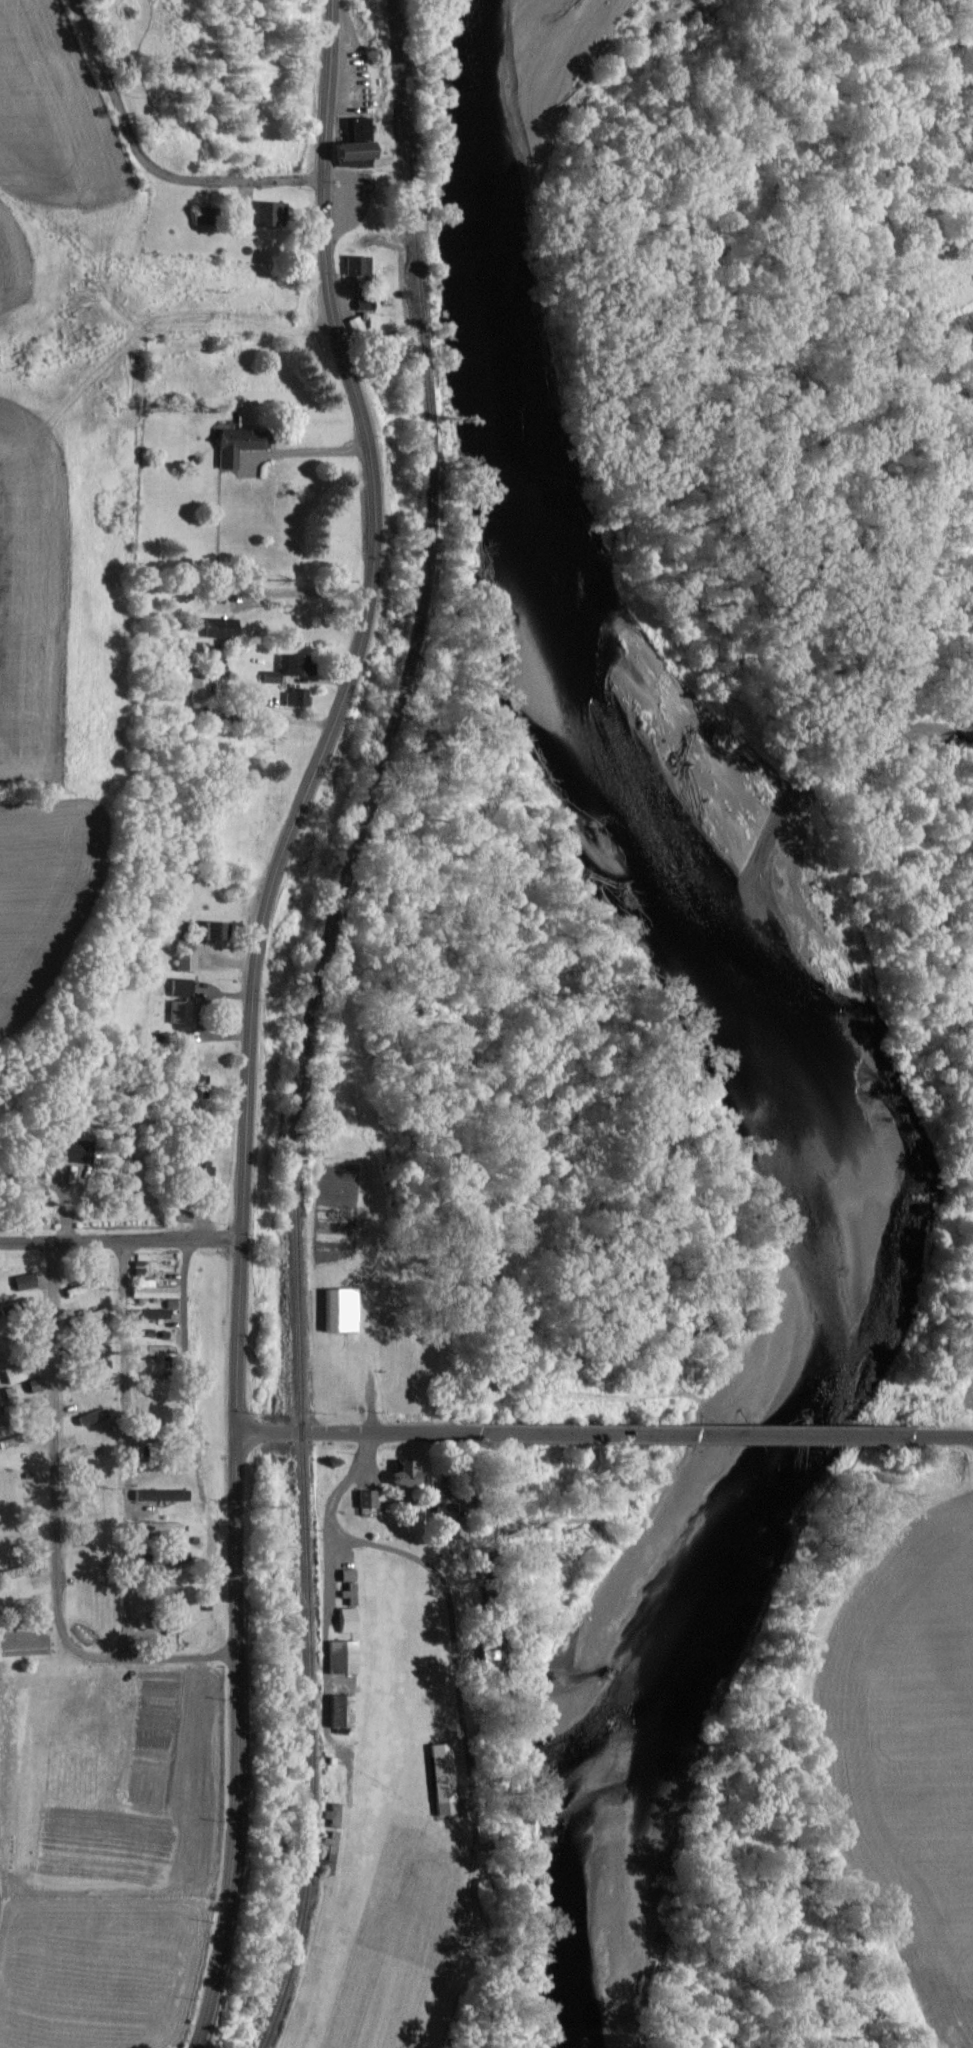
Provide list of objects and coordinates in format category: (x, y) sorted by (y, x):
building: (350, 144)
road: (145, 163)
building: (261, 215)
building: (356, 268)
building: (235, 444)
road: (303, 448)
road: (302, 589)
building: (219, 628)
building: (287, 668)
building: (199, 690)
building: (294, 698)
building: (210, 931)
building: (184, 962)
building: (178, 988)
river: (815, 1009)
building: (178, 1013)
road: (249, 1013)
railway: (311, 1019)
building: (198, 1087)
building: (73, 1152)
building: (198, 1171)
road: (119, 1239)
building: (22, 1283)
building: (151, 1291)
building: (339, 1311)
building: (146, 1315)
building: (152, 1351)
building: (13, 1373)
road: (356, 1432)
road: (700, 1434)
road: (947, 1435)
road: (54, 1441)
road: (123, 1444)
building: (400, 1479)
building: (157, 1495)
building: (365, 1501)
building: (443, 1521)
building: (155, 1529)
building: (345, 1576)
building: (347, 1612)
building: (170, 1624)
road: (91, 1654)
road: (176, 1654)
building: (340, 1658)
building: (338, 1712)
building: (440, 1780)
airport: (388, 1802)
airport runway: (366, 1820)

